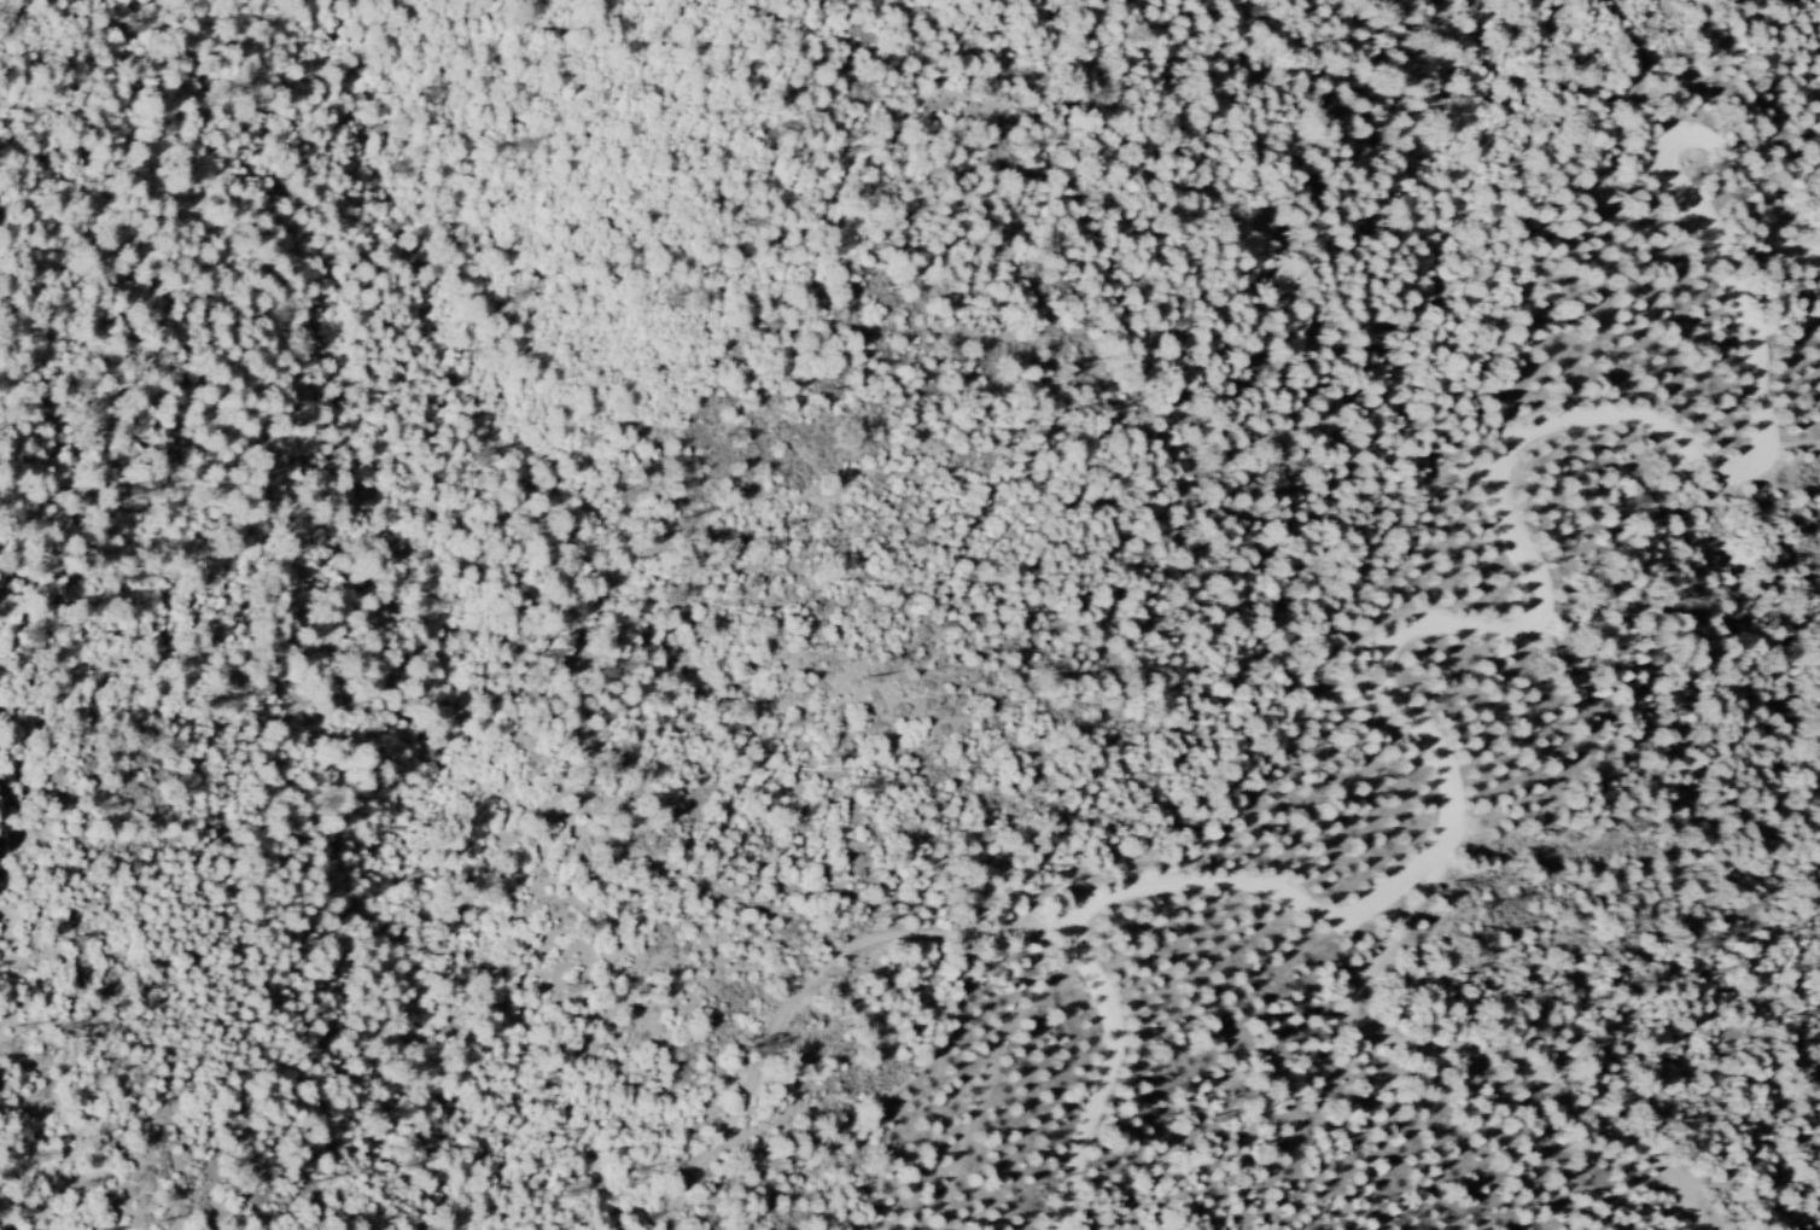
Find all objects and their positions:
road: (1483, 629)
road: (1489, 1049)

